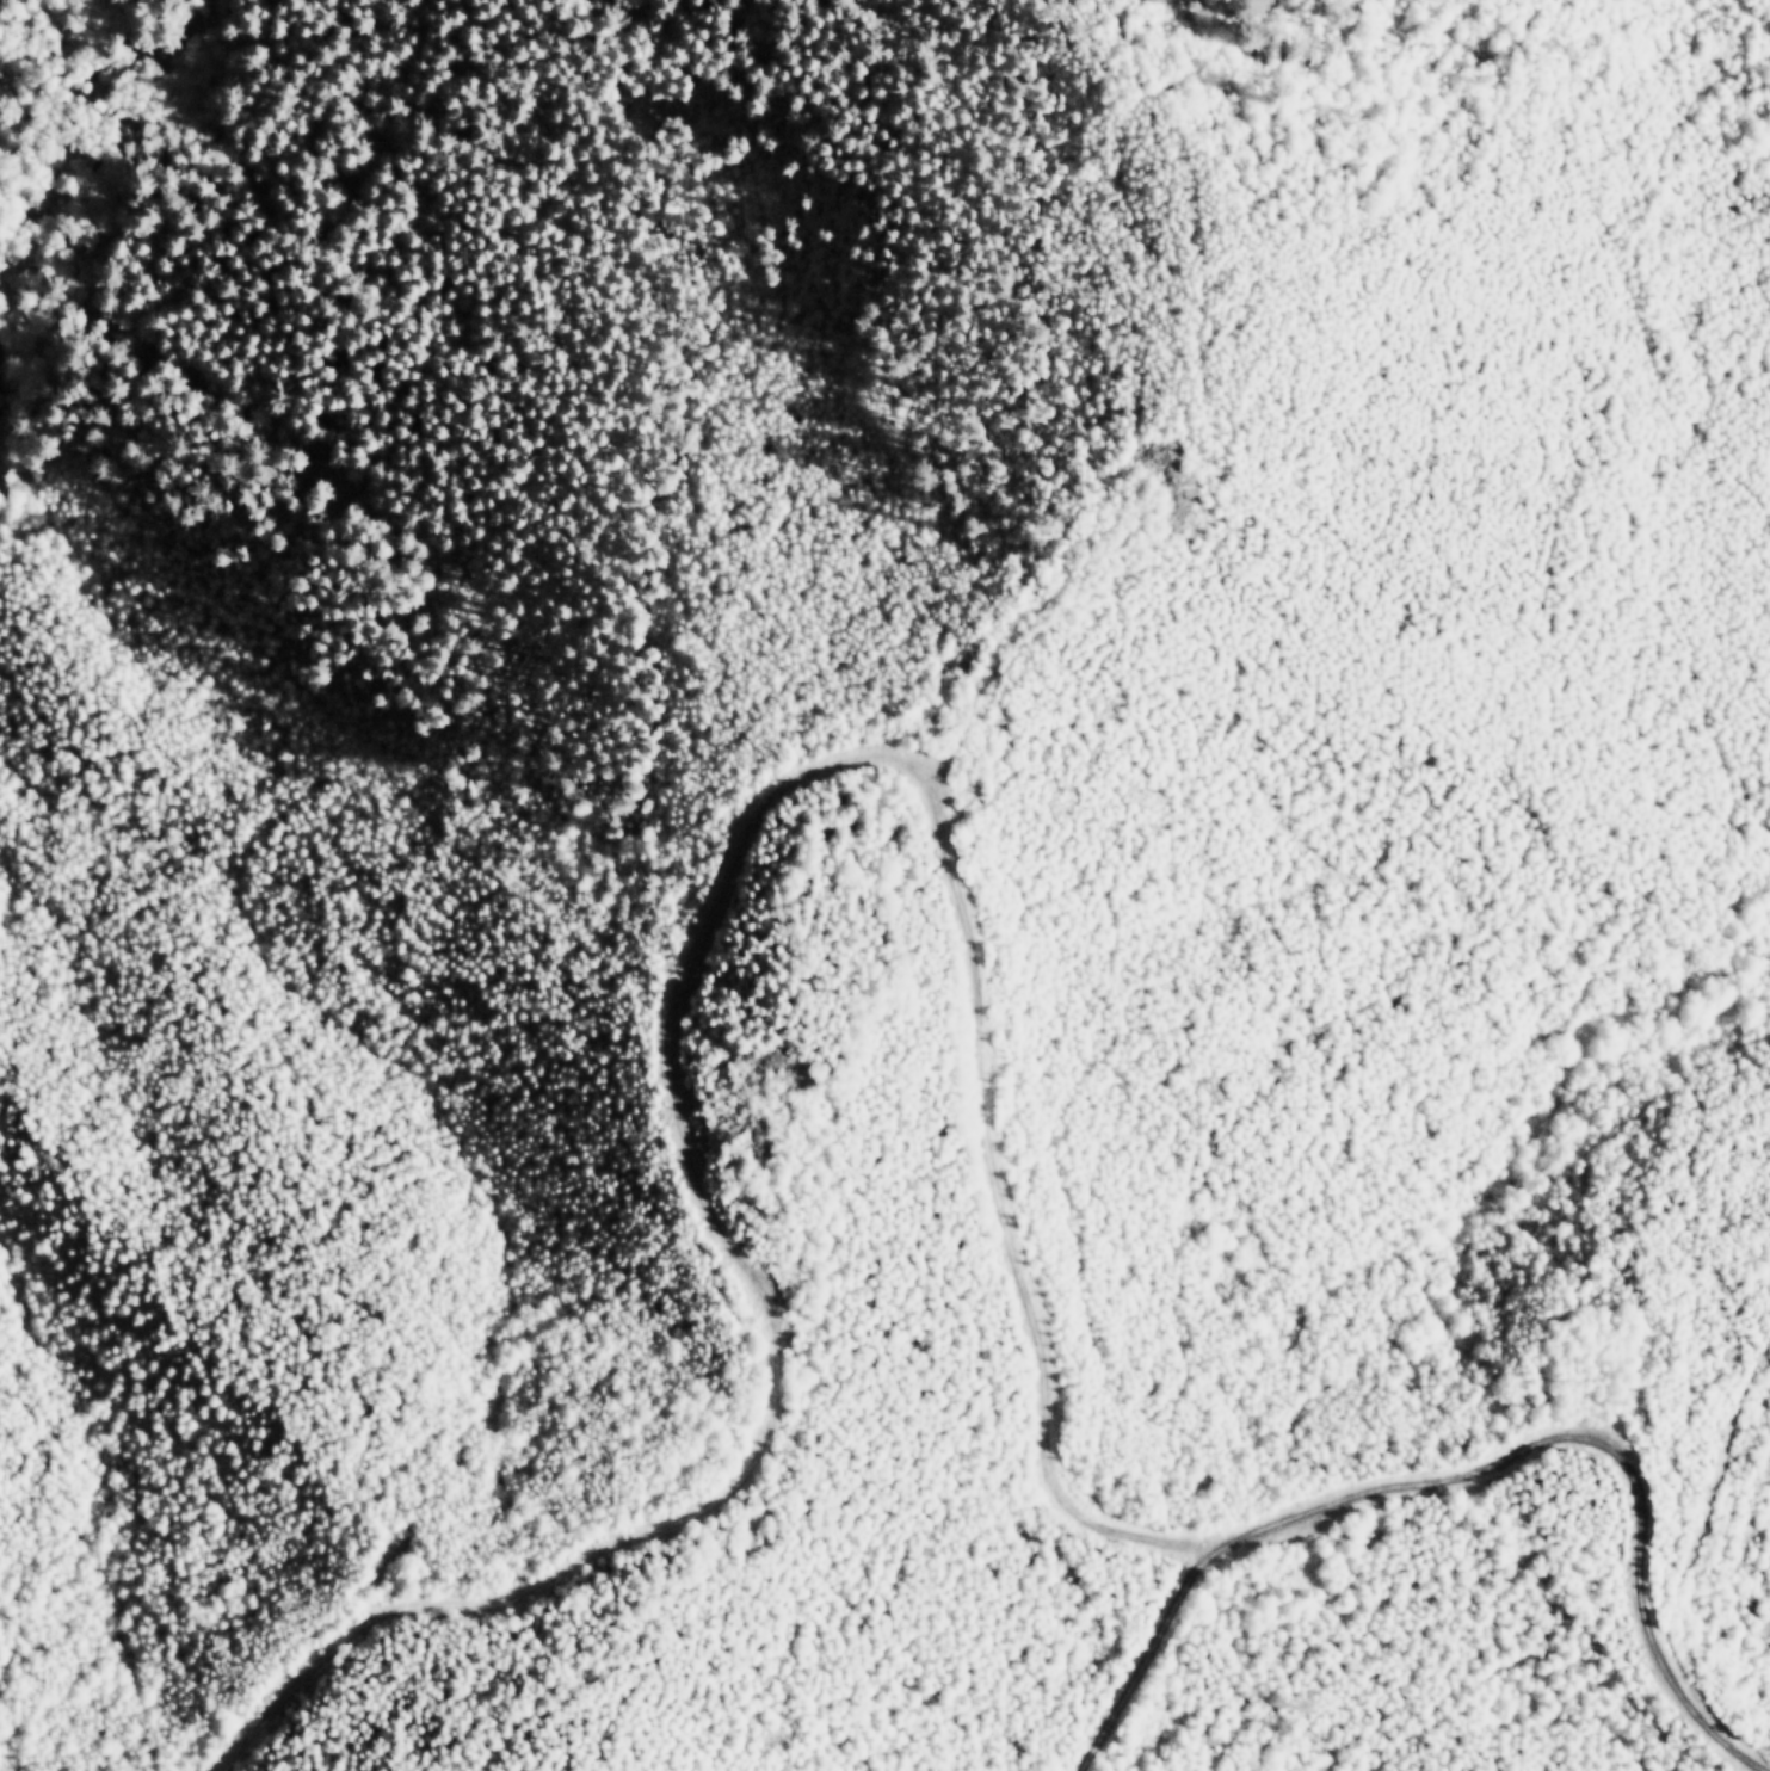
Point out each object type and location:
road: (1011, 652)
road: (701, 926)
road: (822, 1217)
road: (1470, 1474)
road: (1709, 1551)

